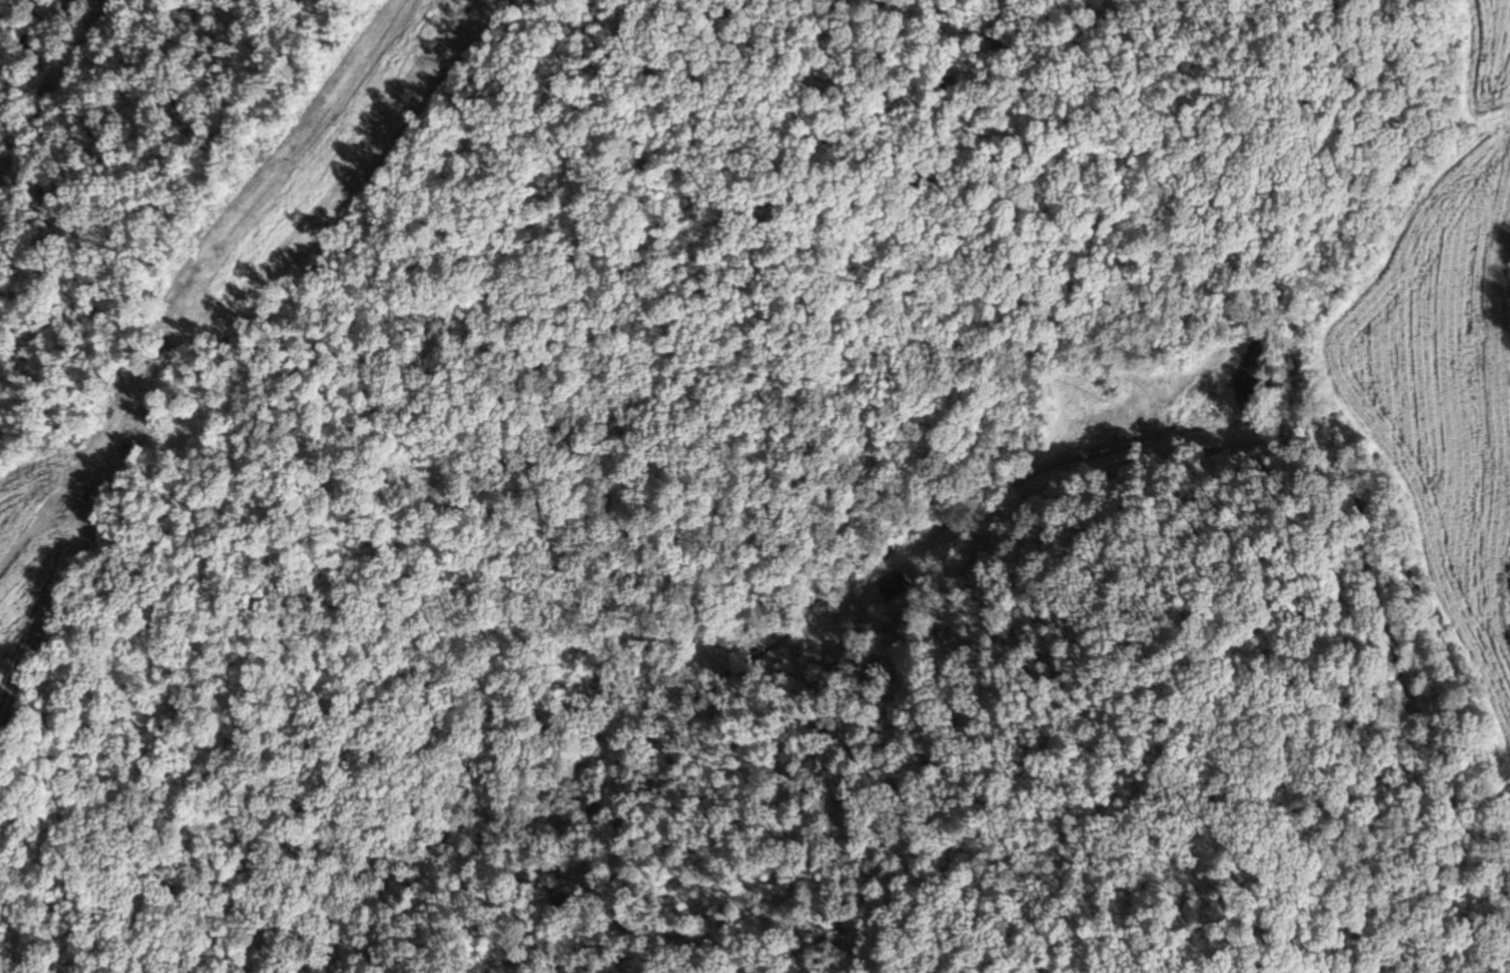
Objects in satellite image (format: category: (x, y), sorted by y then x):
road: (70, 131)
building: (127, 447)

